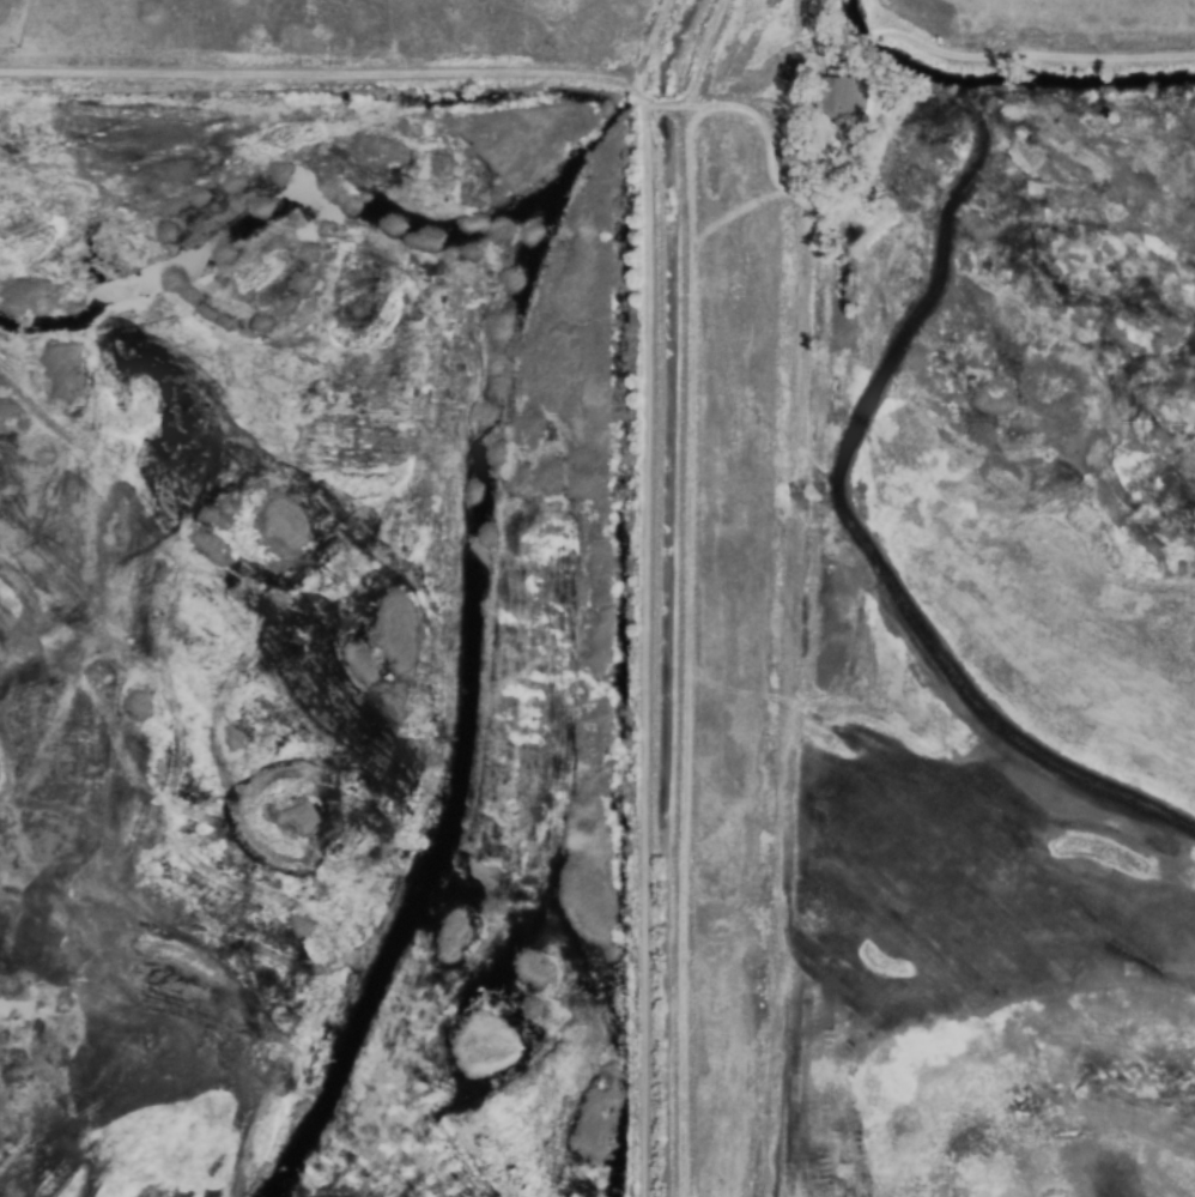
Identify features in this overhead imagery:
road: (823, 24)
building: (835, 95)

